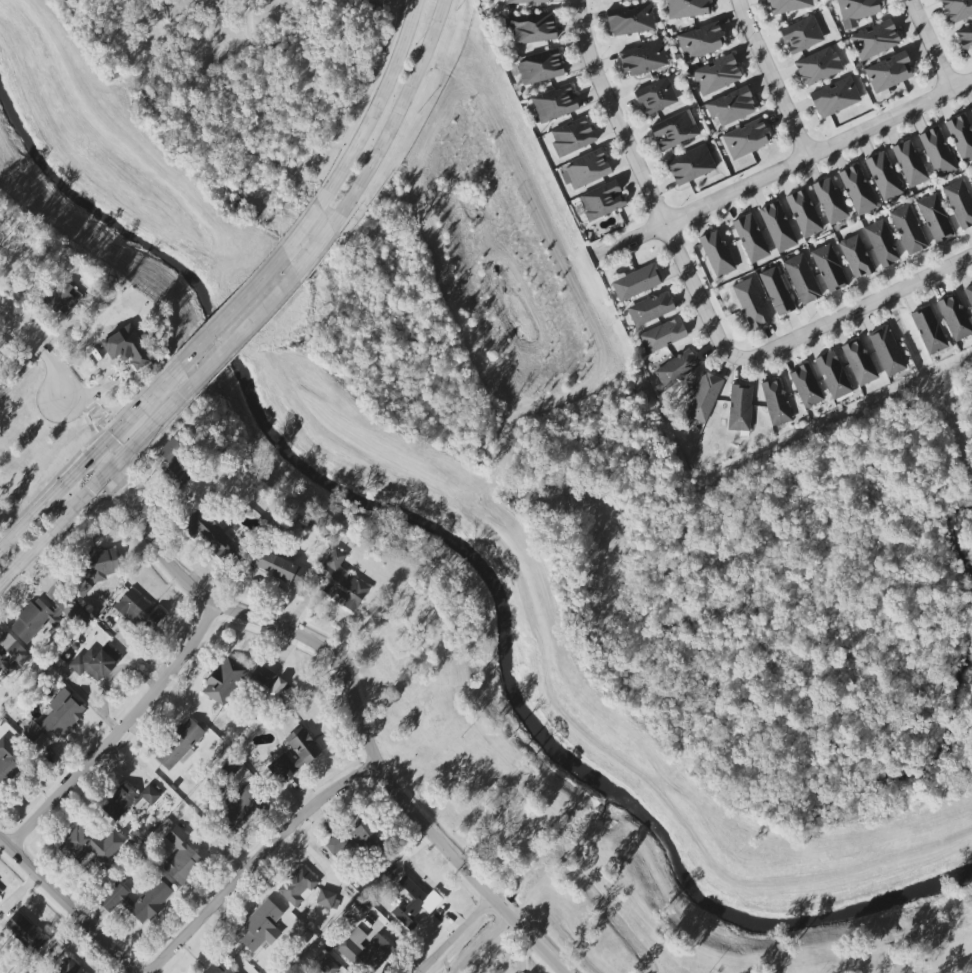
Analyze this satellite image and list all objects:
building: (526, 1)
building: (788, 5)
building: (687, 8)
building: (957, 9)
building: (857, 11)
building: (630, 20)
building: (532, 28)
building: (801, 35)
building: (965, 37)
building: (875, 40)
building: (700, 41)
road: (932, 43)
building: (643, 58)
building: (818, 66)
building: (540, 67)
building: (888, 72)
building: (716, 75)
road: (773, 77)
building: (655, 96)
building: (834, 98)
building: (554, 103)
road: (376, 106)
building: (731, 106)
building: (971, 111)
road: (399, 114)
building: (675, 130)
building: (961, 137)
building: (572, 138)
building: (746, 139)
building: (937, 152)
building: (909, 163)
building: (690, 165)
road: (781, 166)
building: (587, 169)
building: (883, 176)
road: (647, 187)
building: (857, 189)
building: (602, 200)
building: (829, 200)
building: (959, 203)
building: (803, 213)
building: (935, 218)
building: (777, 226)
building: (908, 229)
building: (750, 238)
building: (882, 243)
building: (716, 253)
building: (856, 256)
building: (828, 268)
building: (802, 279)
building: (636, 281)
road: (252, 289)
building: (776, 291)
building: (969, 294)
building: (63, 296)
building: (750, 303)
road: (269, 304)
building: (650, 308)
road: (857, 310)
building: (954, 317)
building: (928, 329)
building: (662, 335)
building: (130, 347)
building: (887, 351)
road: (40, 353)
building: (859, 362)
building: (0, 366)
building: (677, 368)
building: (833, 375)
building: (806, 386)
building: (703, 397)
building: (776, 402)
building: (739, 407)
building: (171, 450)
road: (91, 460)
building: (175, 476)
road: (97, 484)
building: (212, 537)
river: (481, 562)
building: (276, 566)
building: (97, 568)
building: (342, 582)
building: (139, 610)
building: (14, 649)
building: (94, 662)
building: (5, 667)
building: (223, 681)
building: (267, 681)
road: (351, 689)
building: (56, 719)
road: (126, 731)
building: (179, 744)
building: (303, 745)
building: (8, 760)
building: (282, 768)
building: (149, 794)
building: (118, 802)
building: (239, 805)
building: (365, 835)
building: (88, 844)
building: (338, 847)
building: (181, 857)
road: (264, 861)
building: (298, 886)
building: (0, 891)
building: (325, 898)
road: (74, 899)
building: (139, 900)
building: (414, 903)
building: (261, 926)
building: (25, 932)
building: (357, 936)
road: (456, 936)
road: (483, 945)
building: (376, 951)
building: (327, 965)
building: (69, 967)
building: (218, 967)

